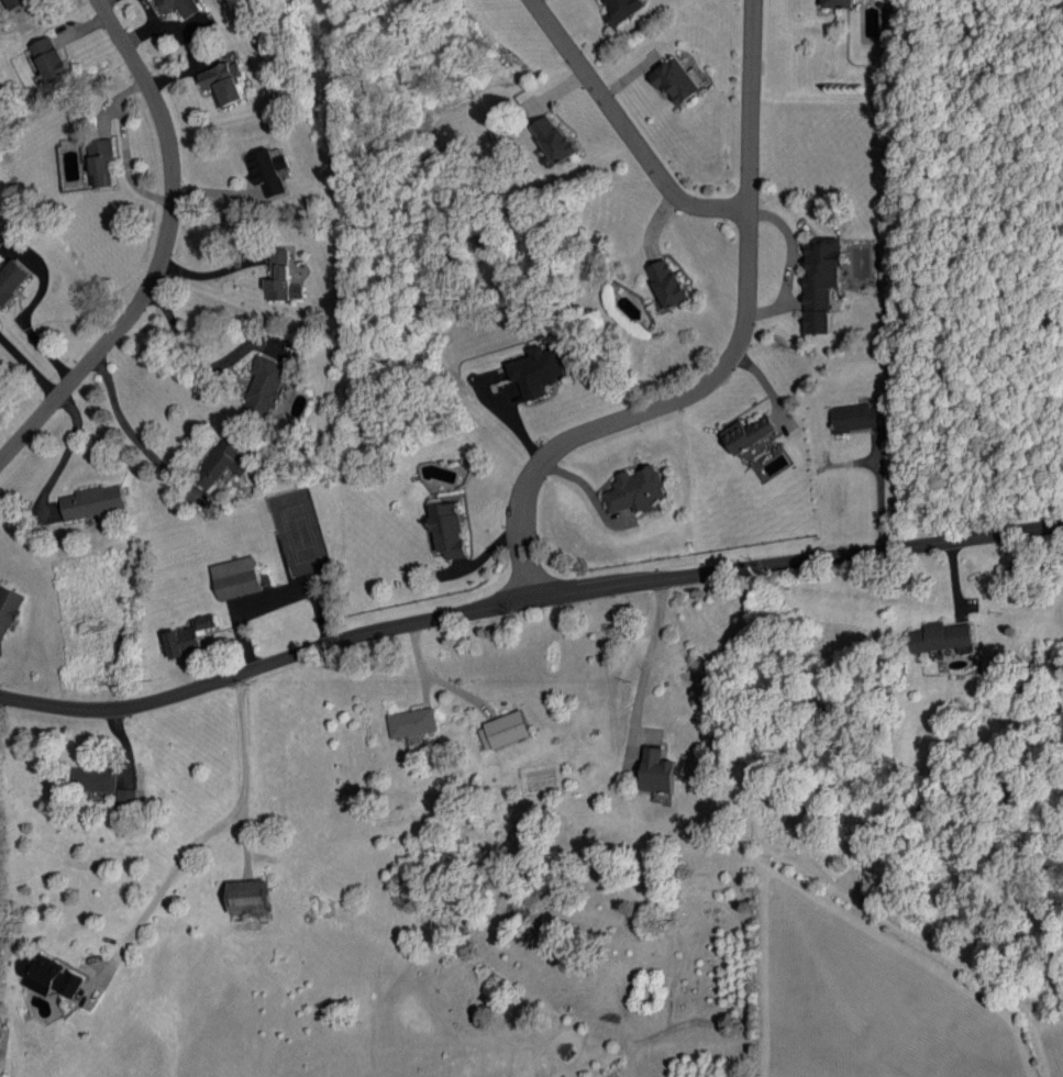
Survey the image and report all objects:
building: (16, 3)
building: (839, 3)
building: (181, 7)
building: (622, 9)
building: (49, 58)
building: (676, 81)
building: (224, 82)
road: (627, 129)
building: (554, 138)
road: (124, 147)
building: (102, 163)
building: (268, 170)
building: (2, 240)
road: (165, 251)
road: (213, 273)
building: (281, 278)
building: (12, 279)
building: (820, 282)
building: (668, 284)
road: (748, 306)
road: (193, 365)
road: (29, 368)
building: (539, 370)
building: (264, 388)
building: (855, 418)
road: (123, 424)
building: (749, 433)
road: (64, 457)
building: (220, 464)
building: (635, 491)
building: (93, 502)
building: (449, 530)
road: (517, 546)
road: (532, 546)
building: (236, 578)
road: (272, 603)
road: (527, 604)
building: (8, 609)
building: (941, 636)
building: (189, 637)
road: (656, 657)
building: (412, 722)
building: (503, 730)
building: (657, 770)
building: (95, 779)
building: (126, 797)
road: (202, 837)
building: (248, 896)
building: (51, 975)

